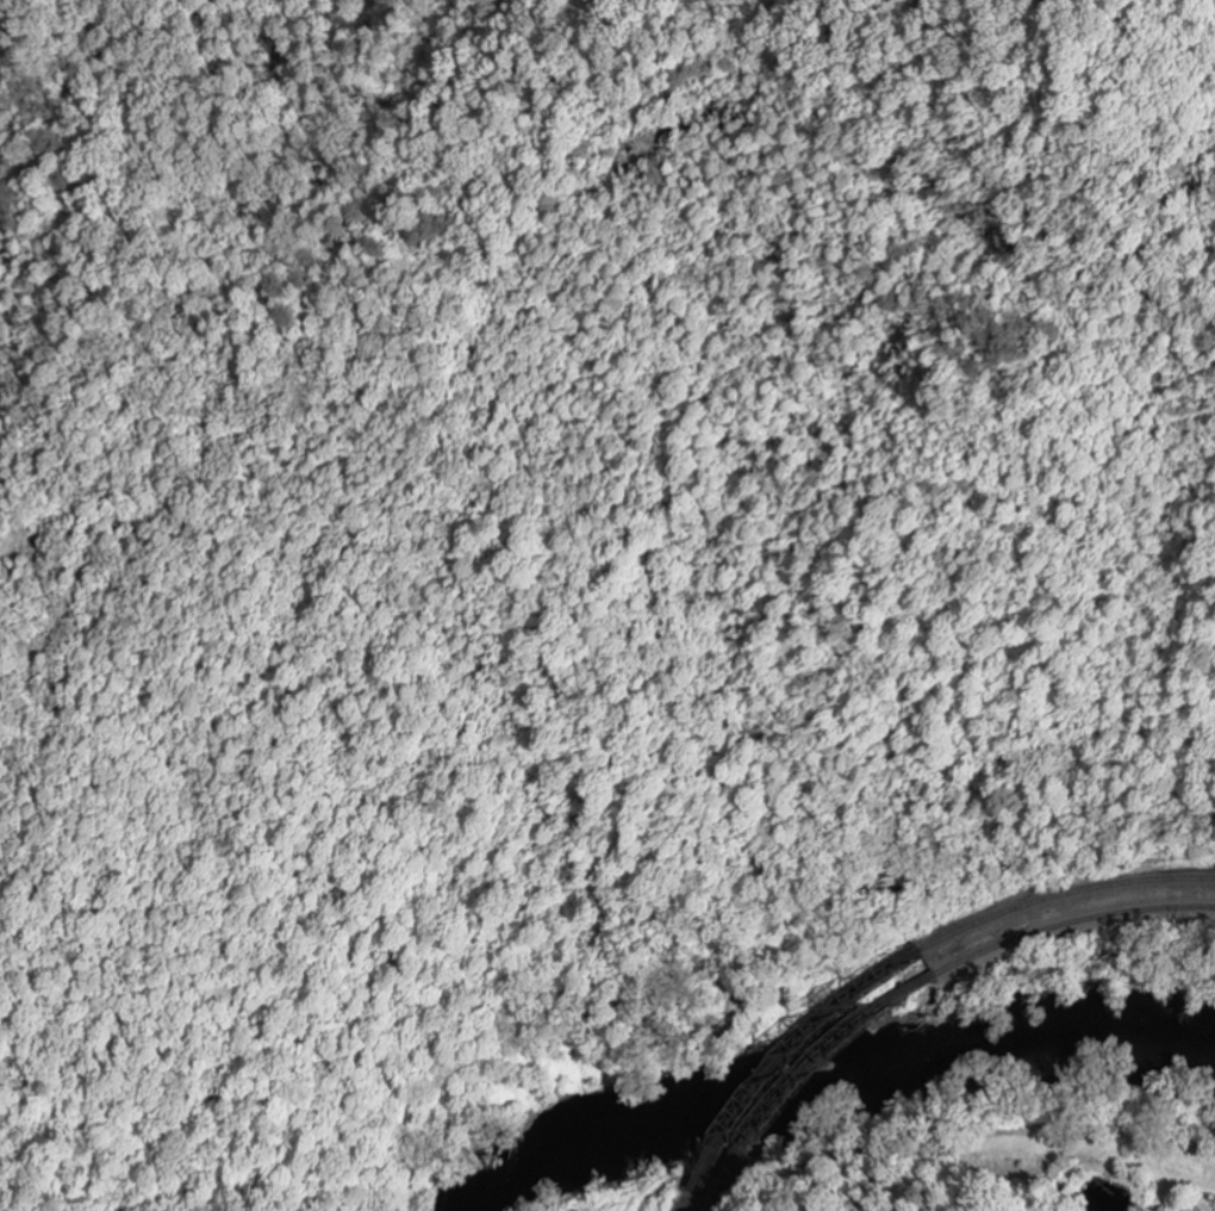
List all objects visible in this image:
road: (1072, 869)
railway: (1066, 909)
railway: (1071, 921)
railway: (796, 1063)
railway: (810, 1068)
river: (833, 1080)
railway: (710, 1201)
railway: (691, 1203)

